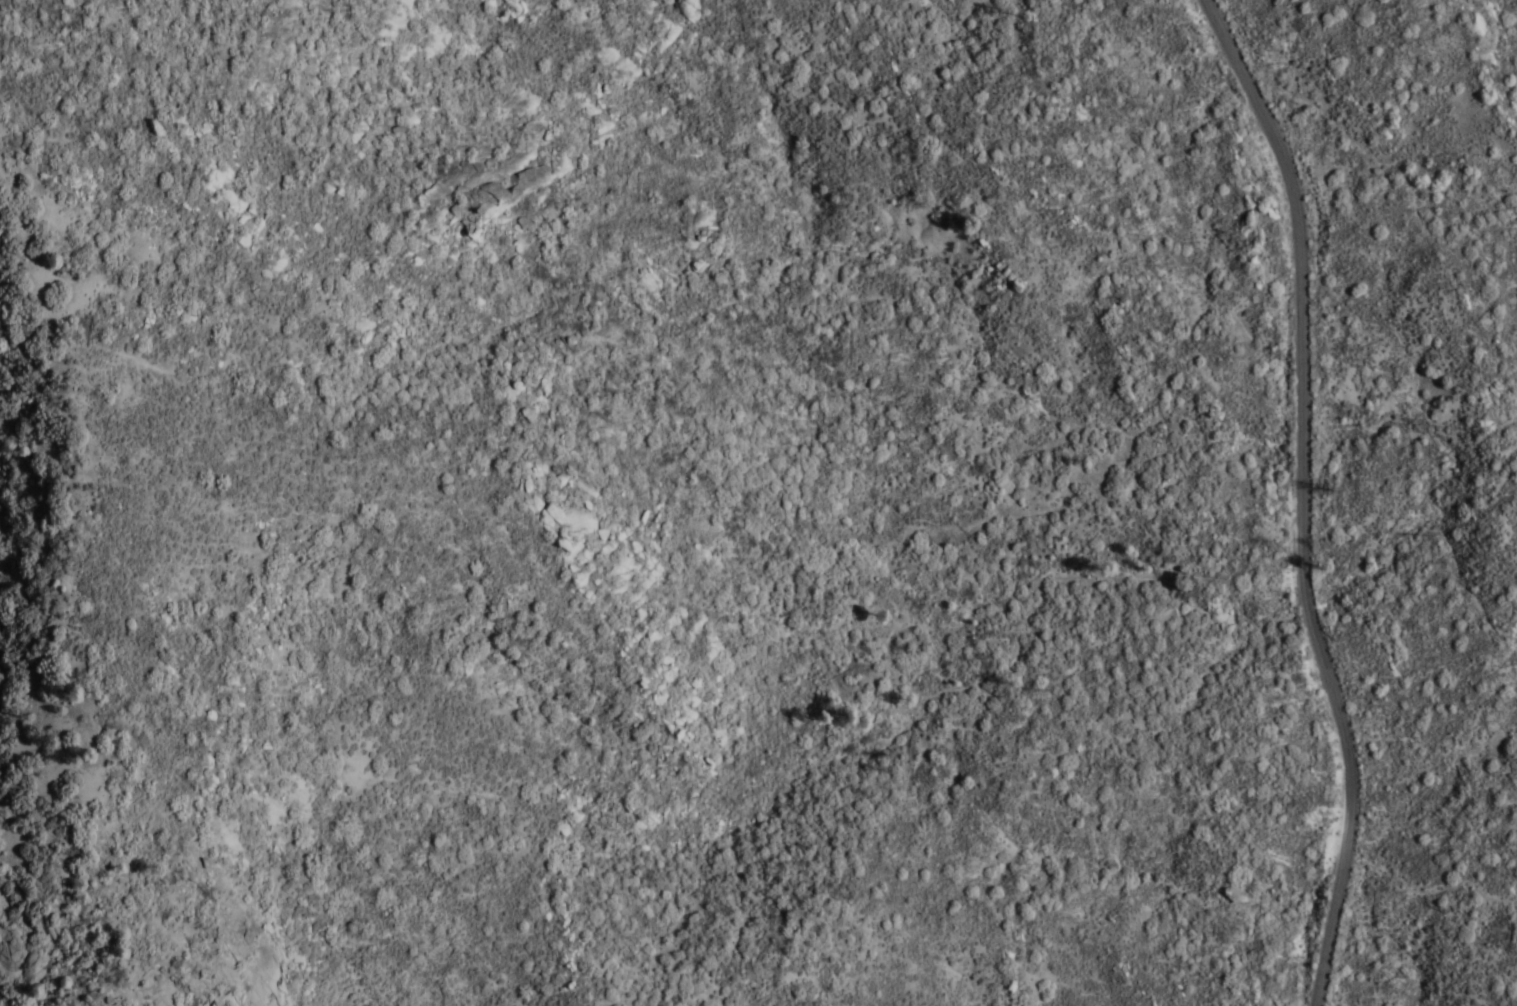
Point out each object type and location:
road: (1298, 497)

